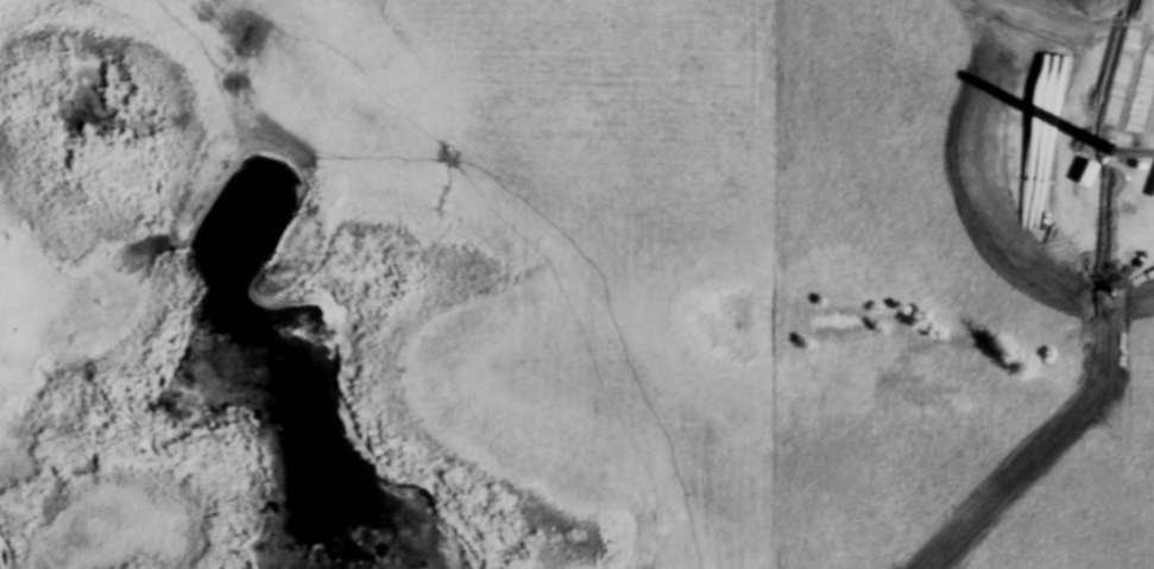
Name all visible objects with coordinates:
wind turbine: (1106, 156)

